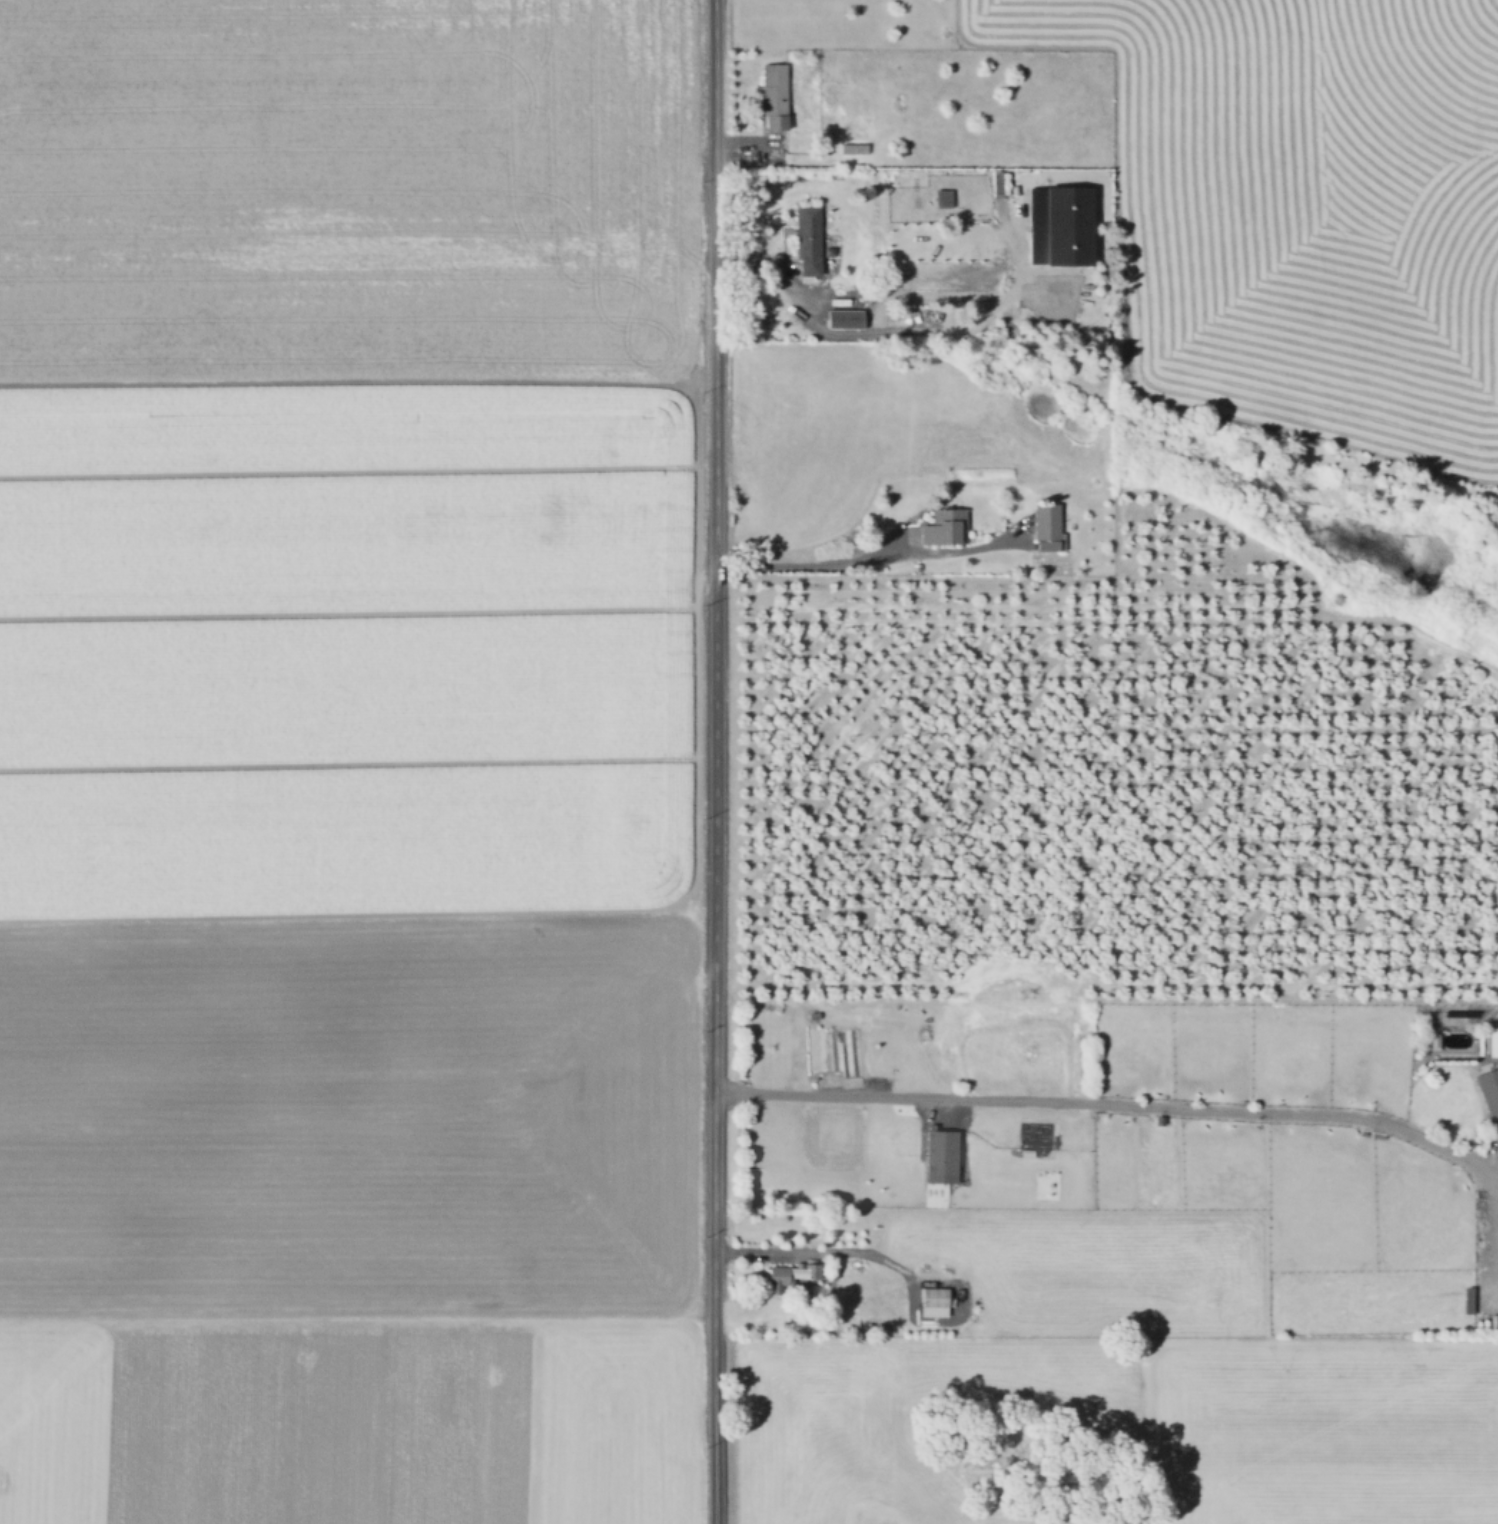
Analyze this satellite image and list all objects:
building: (774, 94)
building: (856, 148)
building: (944, 199)
crop: (1307, 207)
building: (810, 240)
road: (776, 273)
building: (846, 319)
building: (1049, 527)
building: (946, 528)
road: (869, 554)
road: (716, 762)
building: (813, 1018)
building: (1492, 1040)
building: (1432, 1041)
building: (845, 1054)
building: (1488, 1089)
road: (1111, 1102)
building: (939, 1154)
road: (1493, 1232)
road: (827, 1252)
building: (791, 1274)
building: (938, 1296)
building: (1467, 1303)
road: (1106, 1341)

